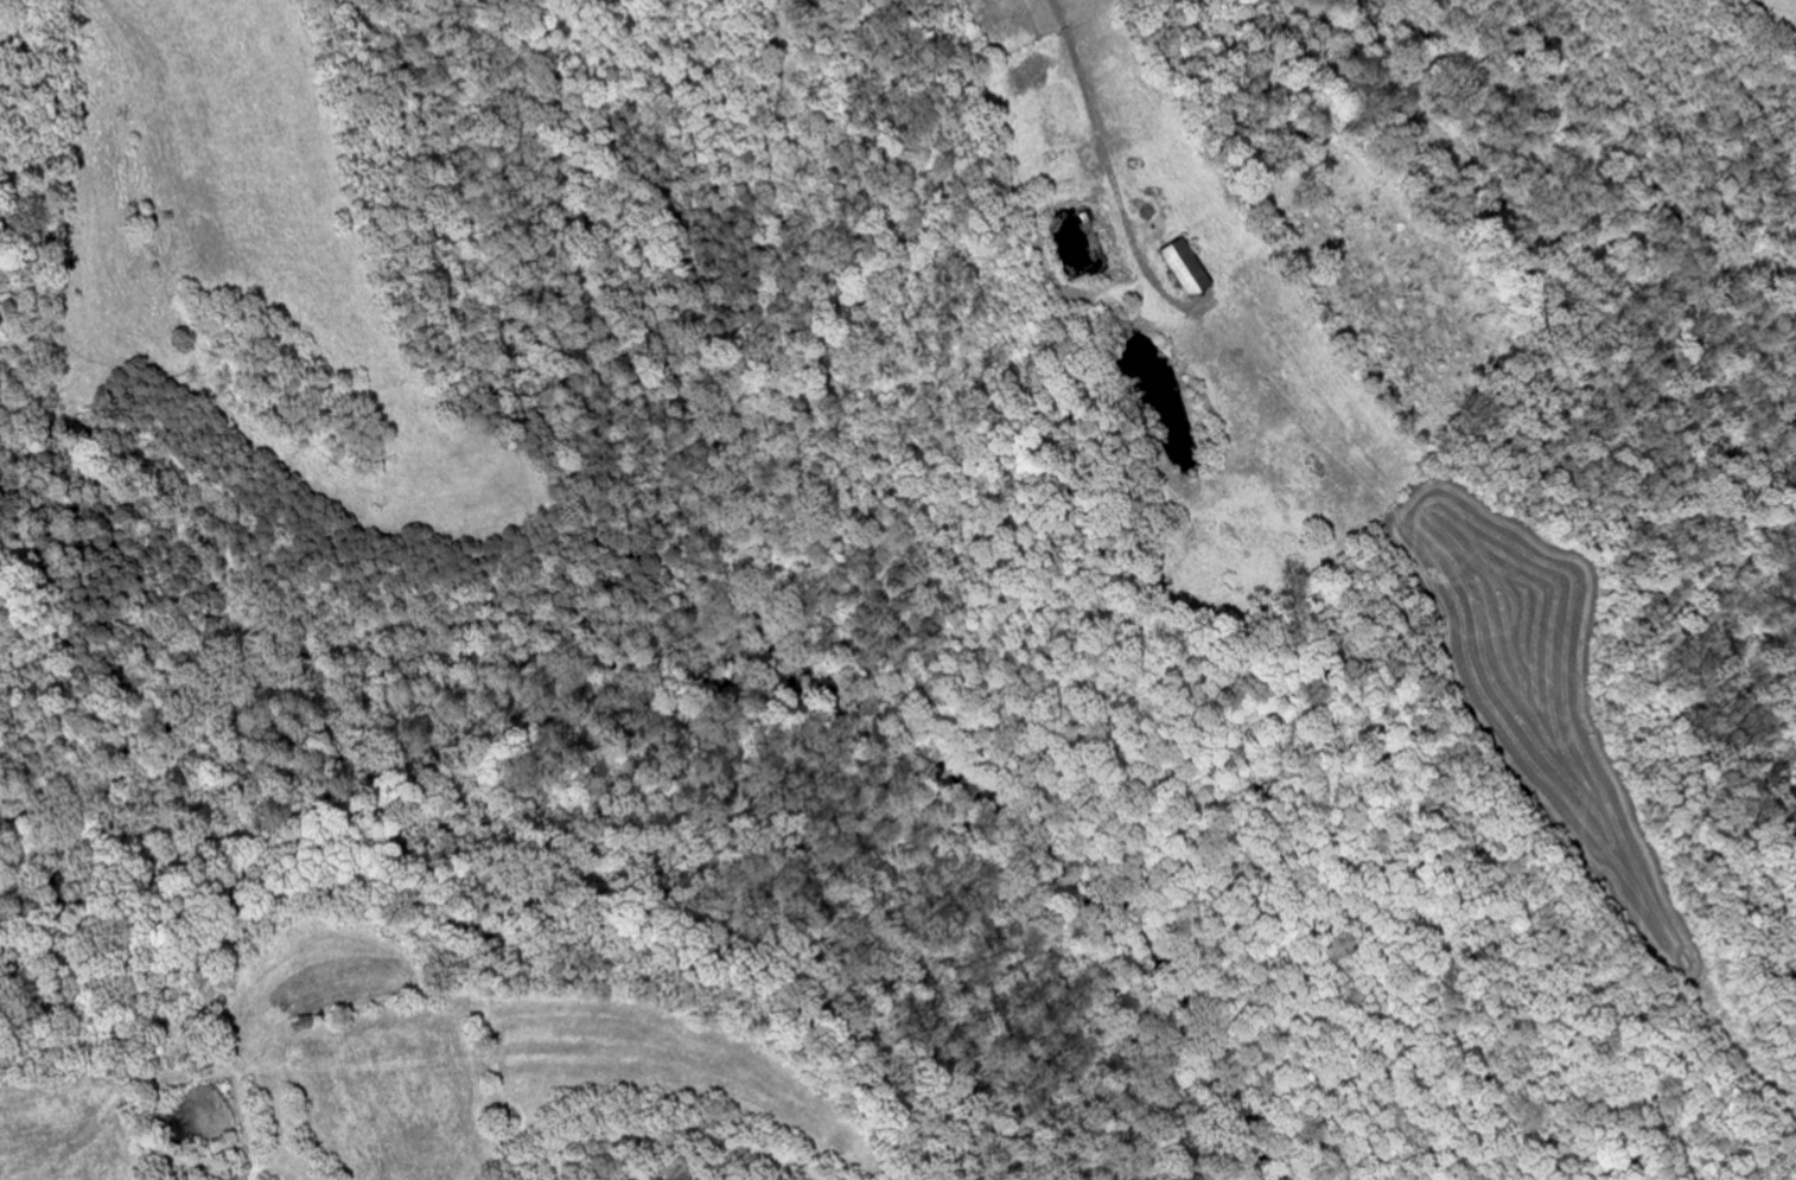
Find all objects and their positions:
road: (1106, 154)
building: (1176, 268)

